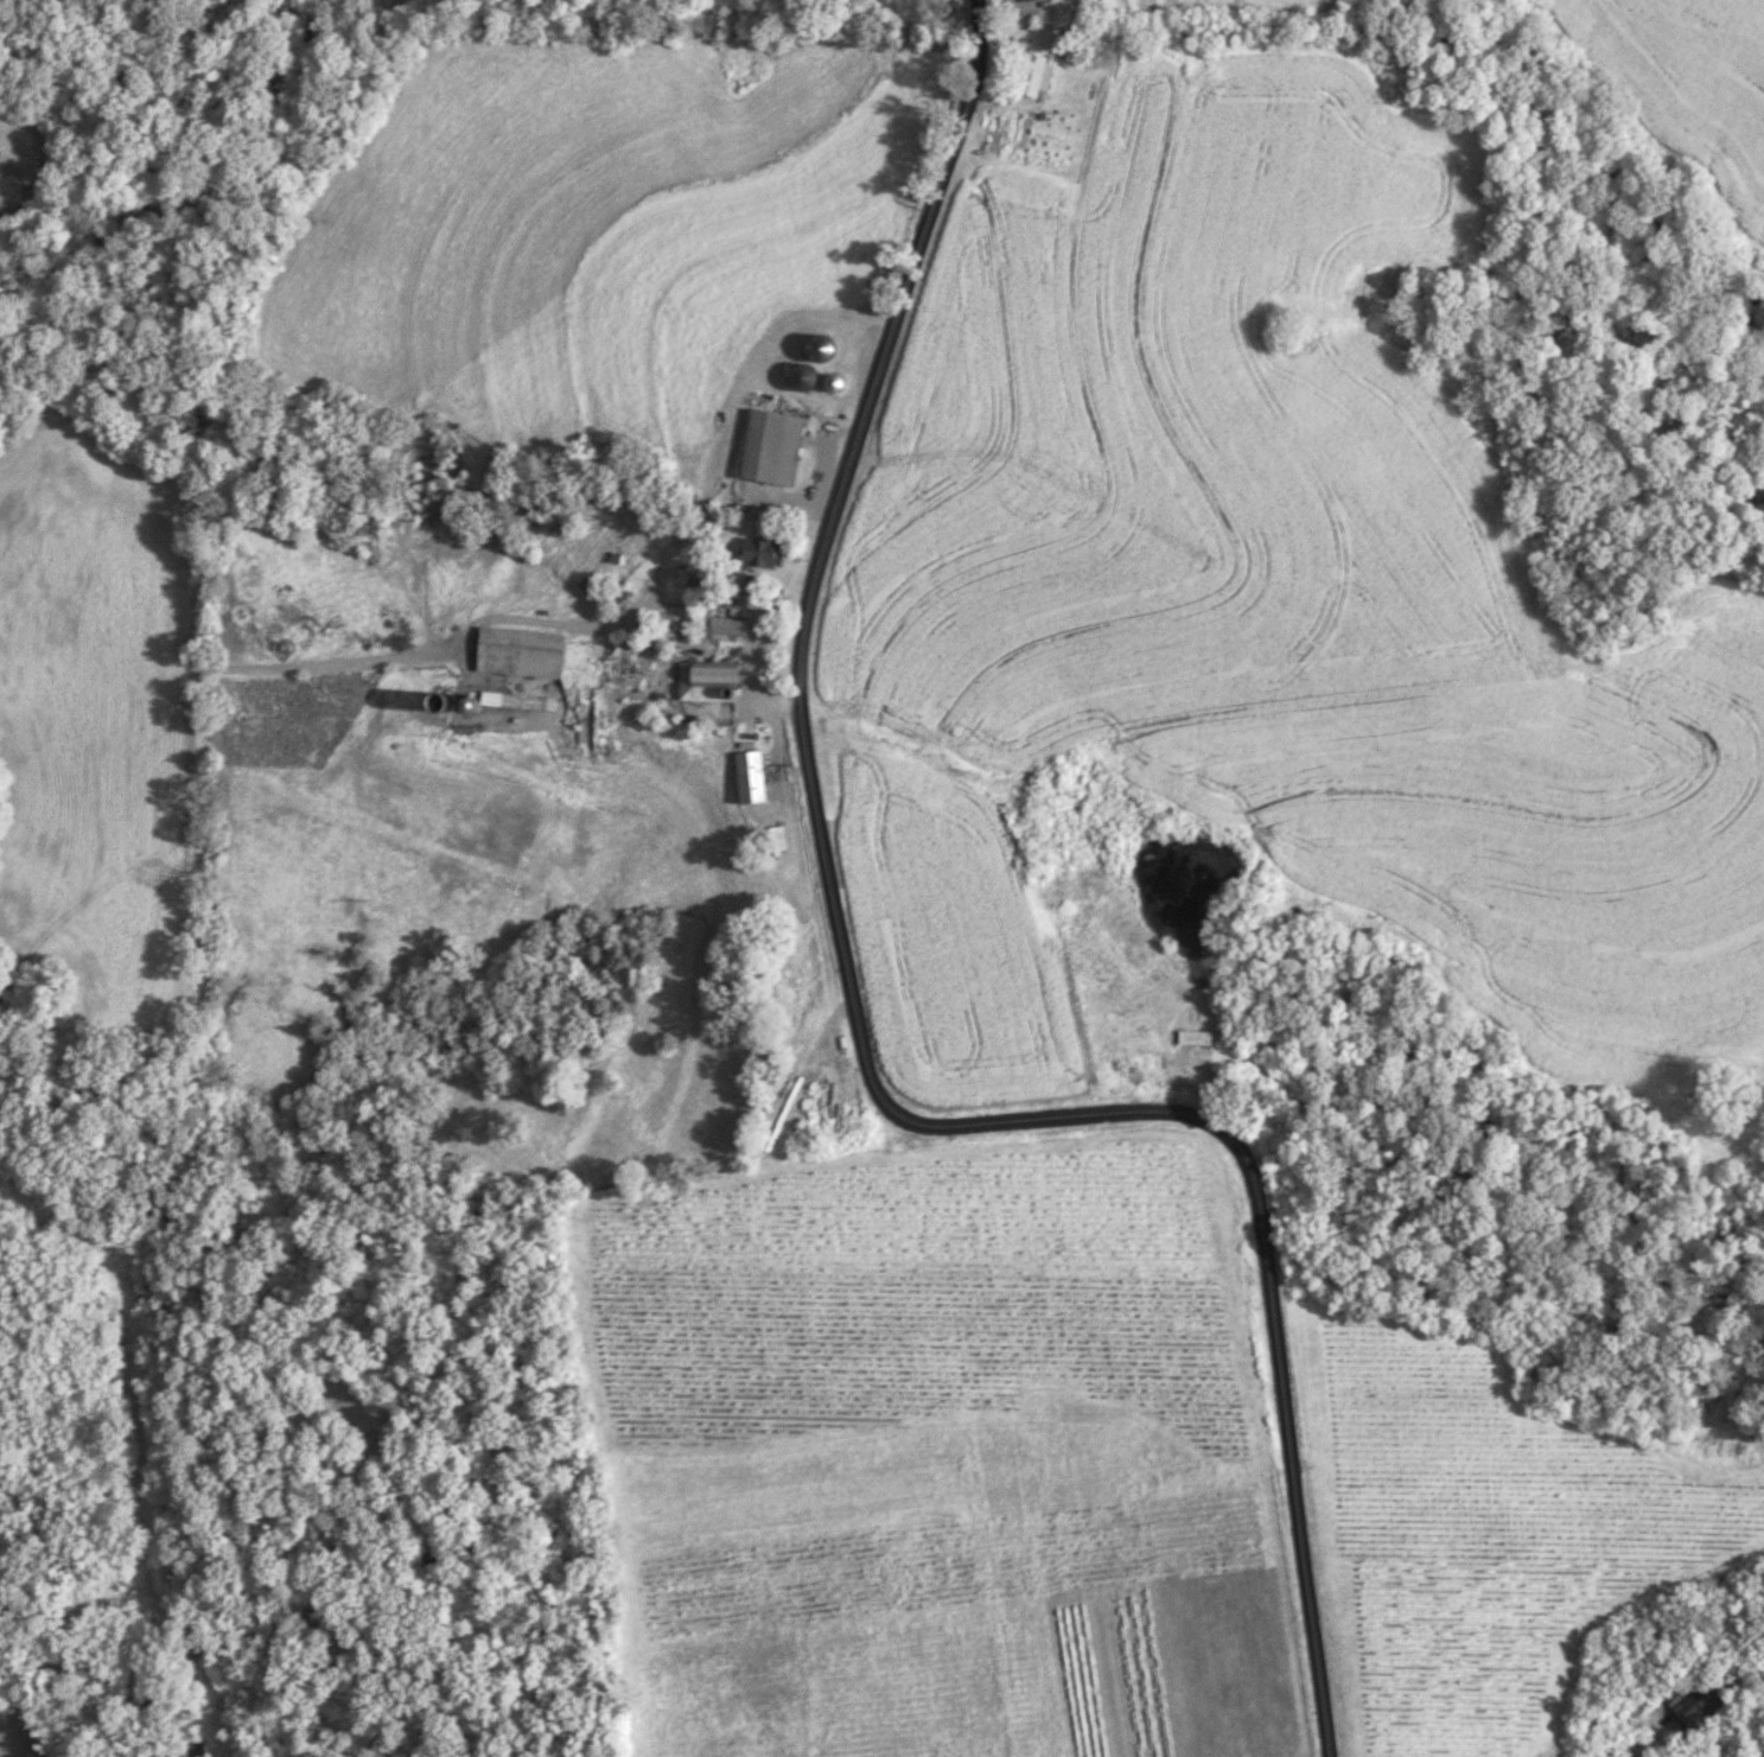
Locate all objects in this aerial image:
building: (1024, 0)
building: (1037, 74)
building: (808, 376)
building: (836, 383)
building: (775, 448)
building: (764, 554)
building: (680, 578)
road: (695, 597)
building: (721, 626)
building: (522, 652)
building: (628, 657)
building: (712, 682)
building: (520, 701)
building: (753, 778)
building: (772, 840)
building: (1197, 1036)
road: (856, 1038)
building: (1696, 1702)

